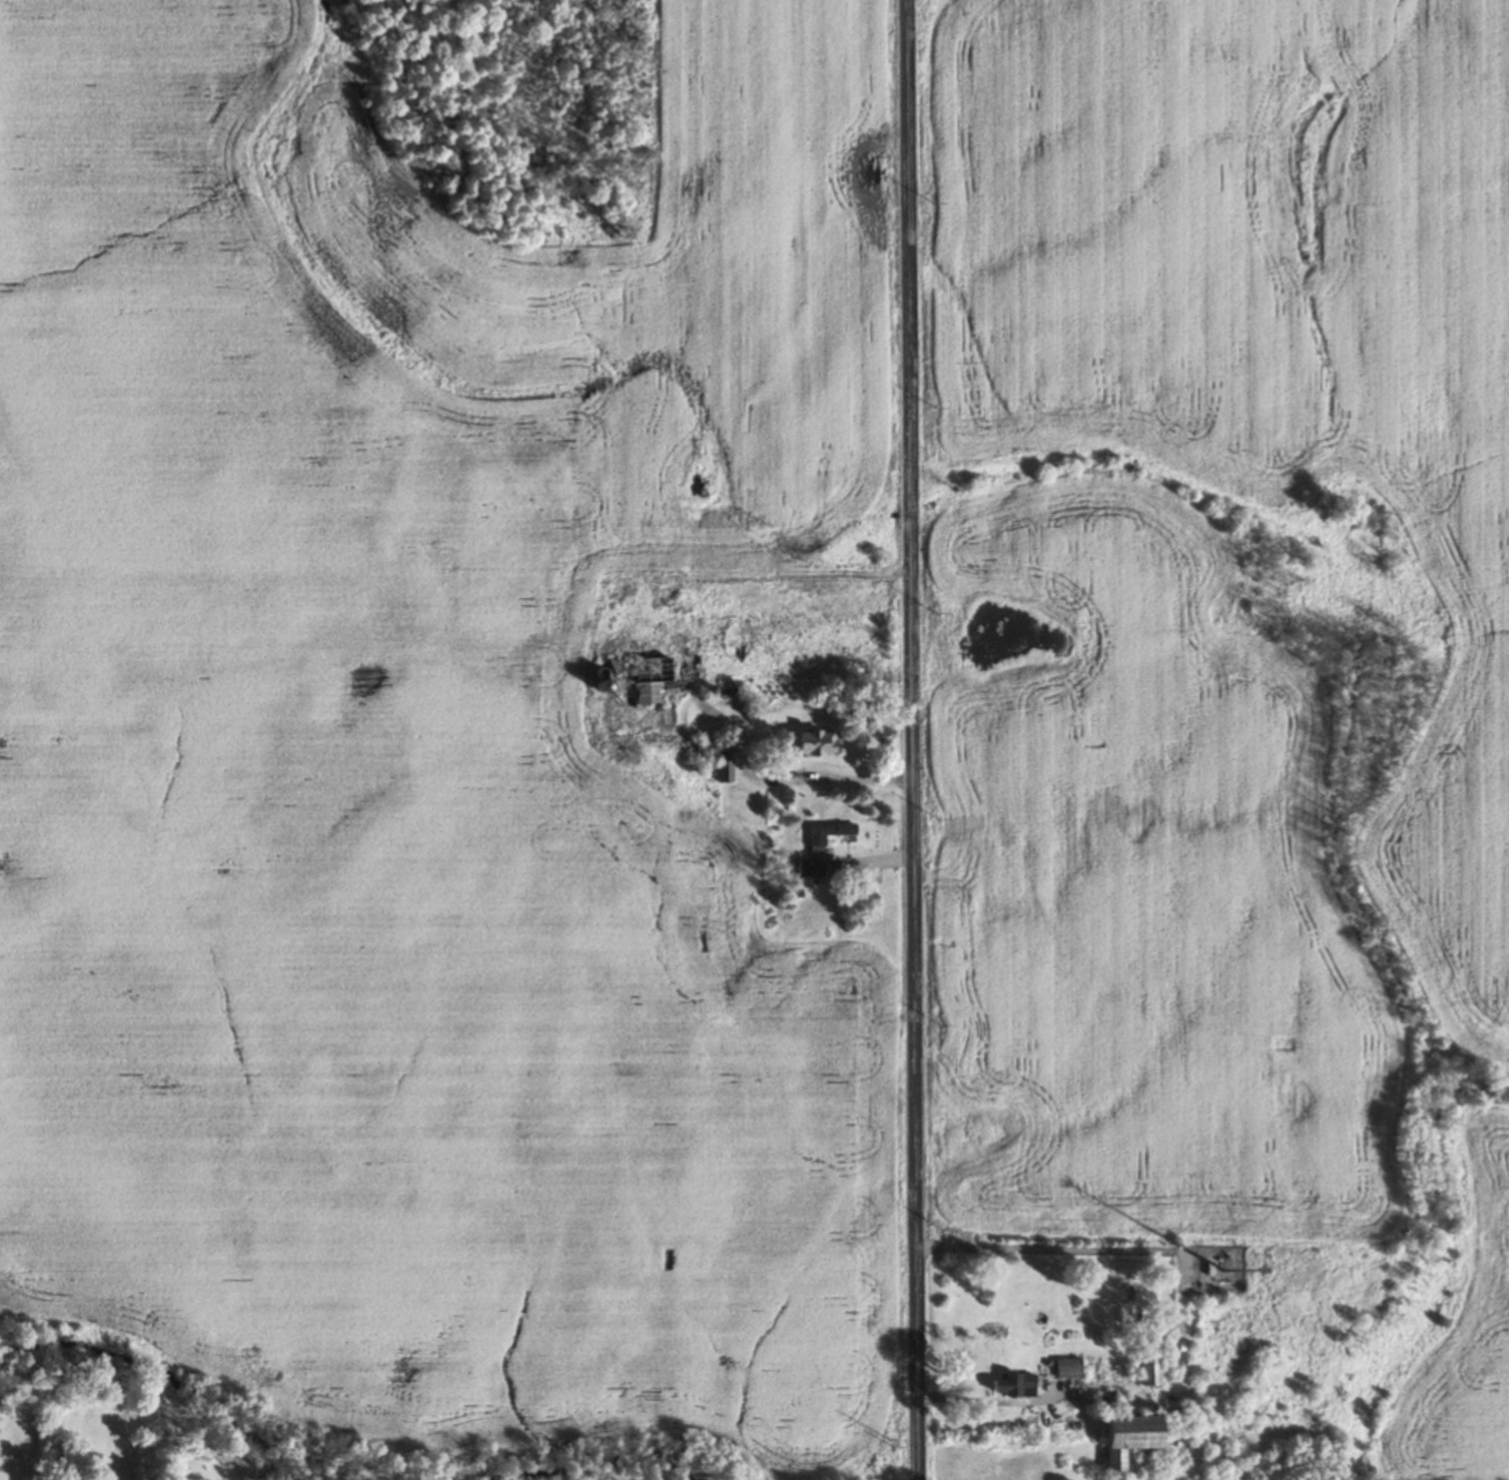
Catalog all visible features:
building: (639, 677)
road: (913, 740)
building: (817, 743)
building: (716, 755)
building: (825, 834)
building: (809, 868)
building: (1215, 1273)
building: (1067, 1367)
building: (1149, 1370)
building: (1014, 1384)
building: (1131, 1436)

